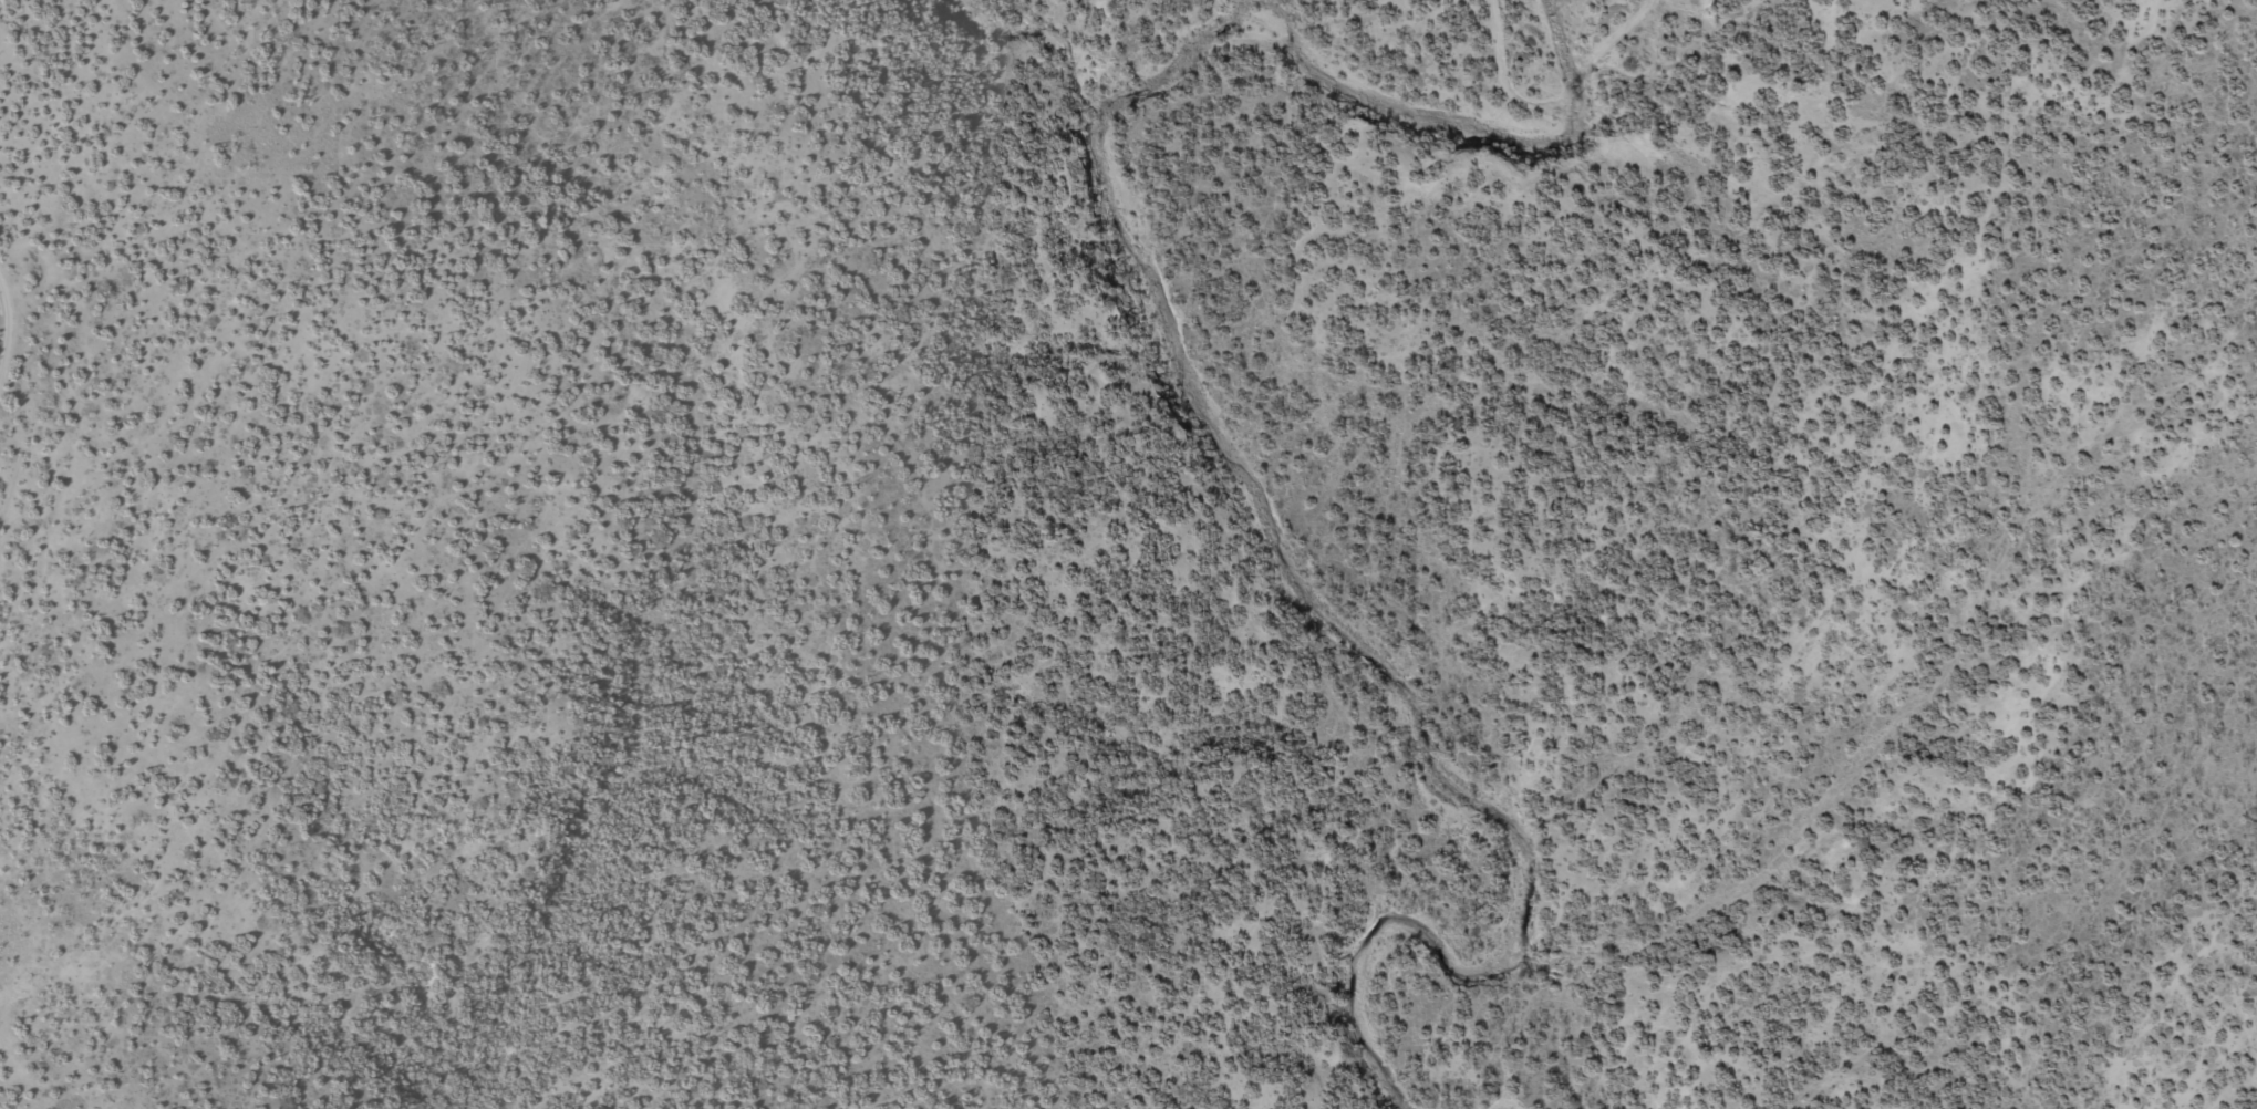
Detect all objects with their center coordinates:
road: (60, 261)

